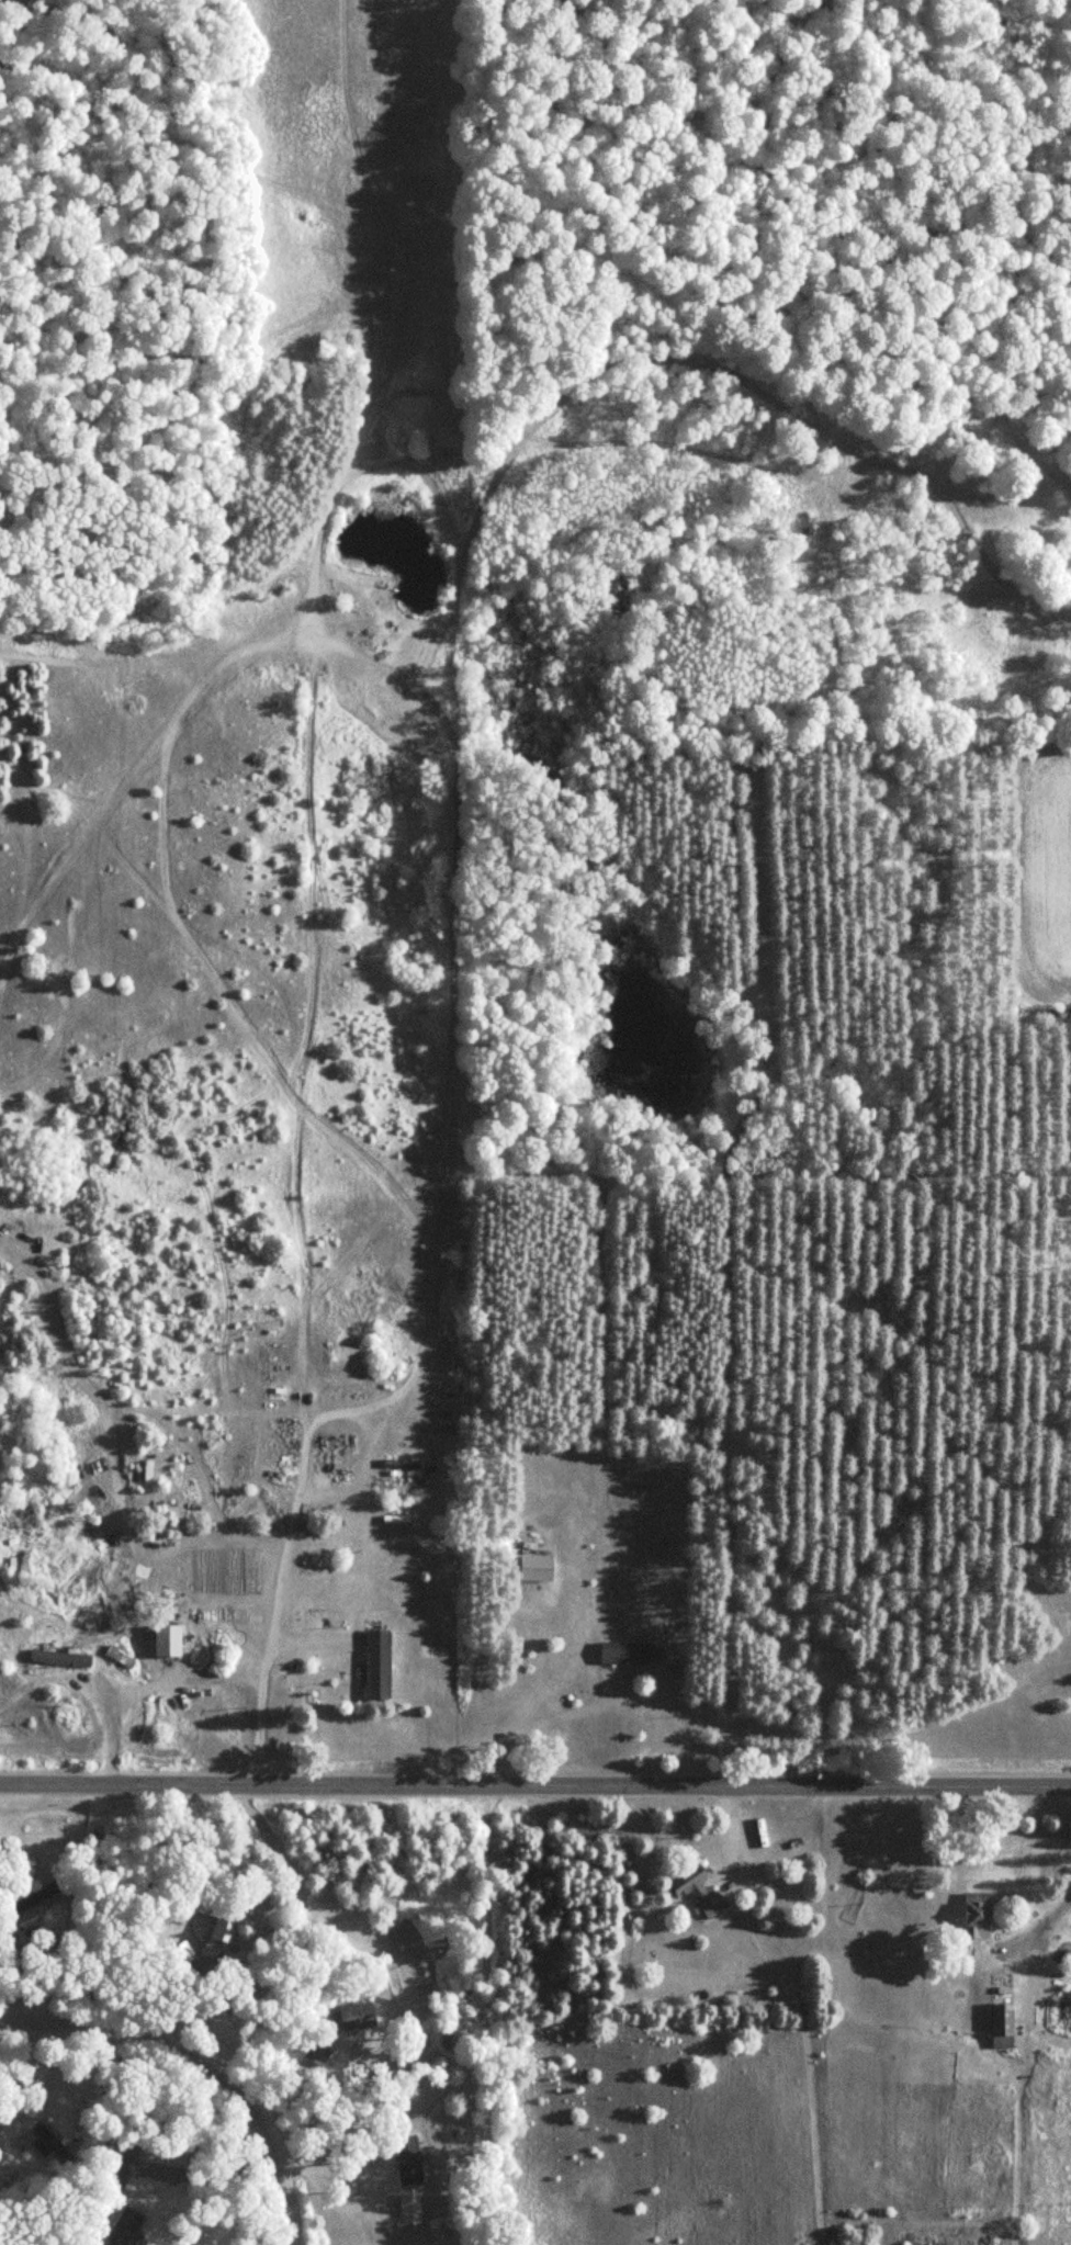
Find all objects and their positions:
building: (539, 1567)
building: (629, 1652)
building: (380, 1665)
building: (78, 1680)
road: (535, 1781)
building: (700, 1892)
building: (37, 1896)
building: (978, 1915)
building: (226, 1928)
building: (185, 1953)
building: (1062, 2010)
building: (359, 2016)
building: (1004, 2026)
road: (143, 2034)
building: (409, 2159)
building: (120, 2163)
road: (282, 2177)
building: (406, 2216)
building: (129, 2227)

